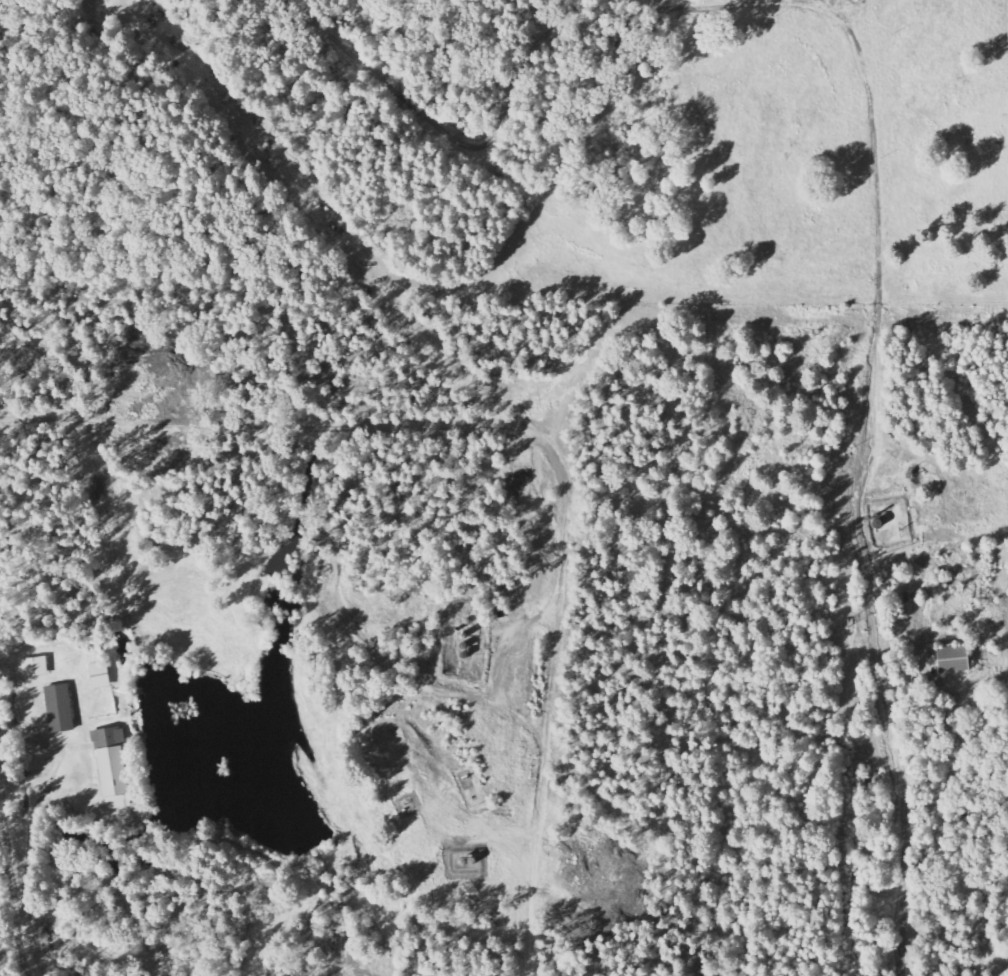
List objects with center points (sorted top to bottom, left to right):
road: (867, 76)
road: (865, 555)
building: (952, 659)
building: (34, 667)
building: (59, 708)
building: (33, 746)
building: (112, 768)
road: (10, 848)
road: (903, 890)
road: (28, 953)

